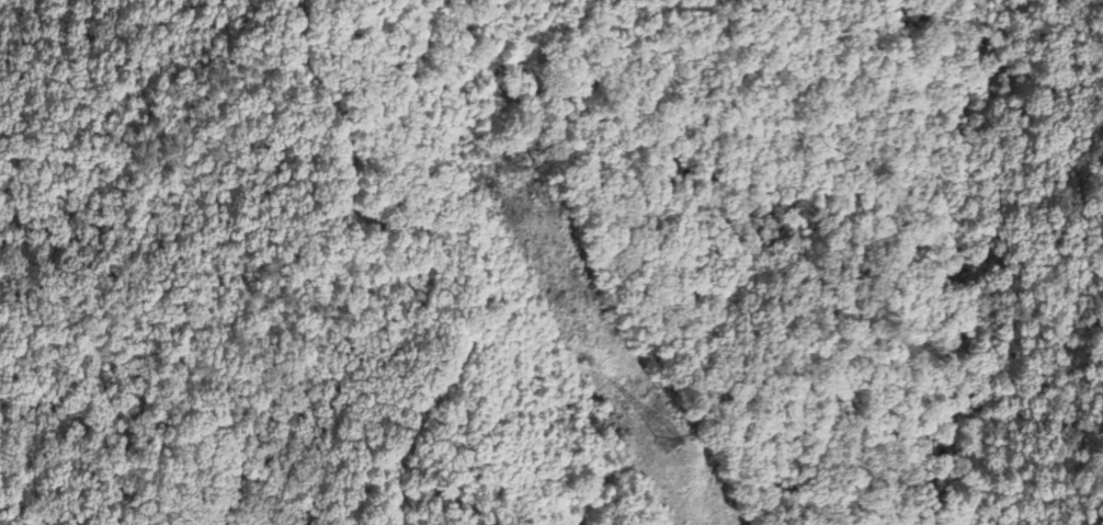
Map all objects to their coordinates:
power tower: (676, 442)

